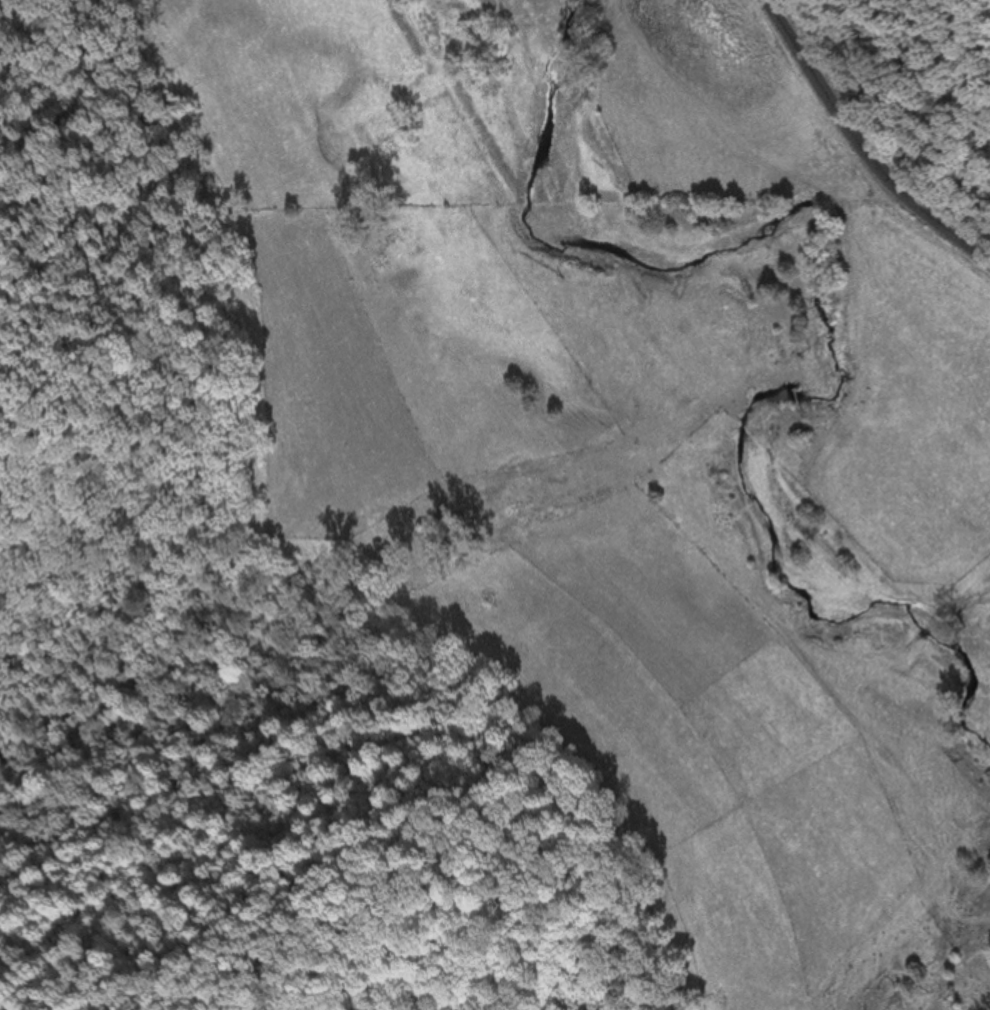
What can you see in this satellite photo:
road: (856, 148)

